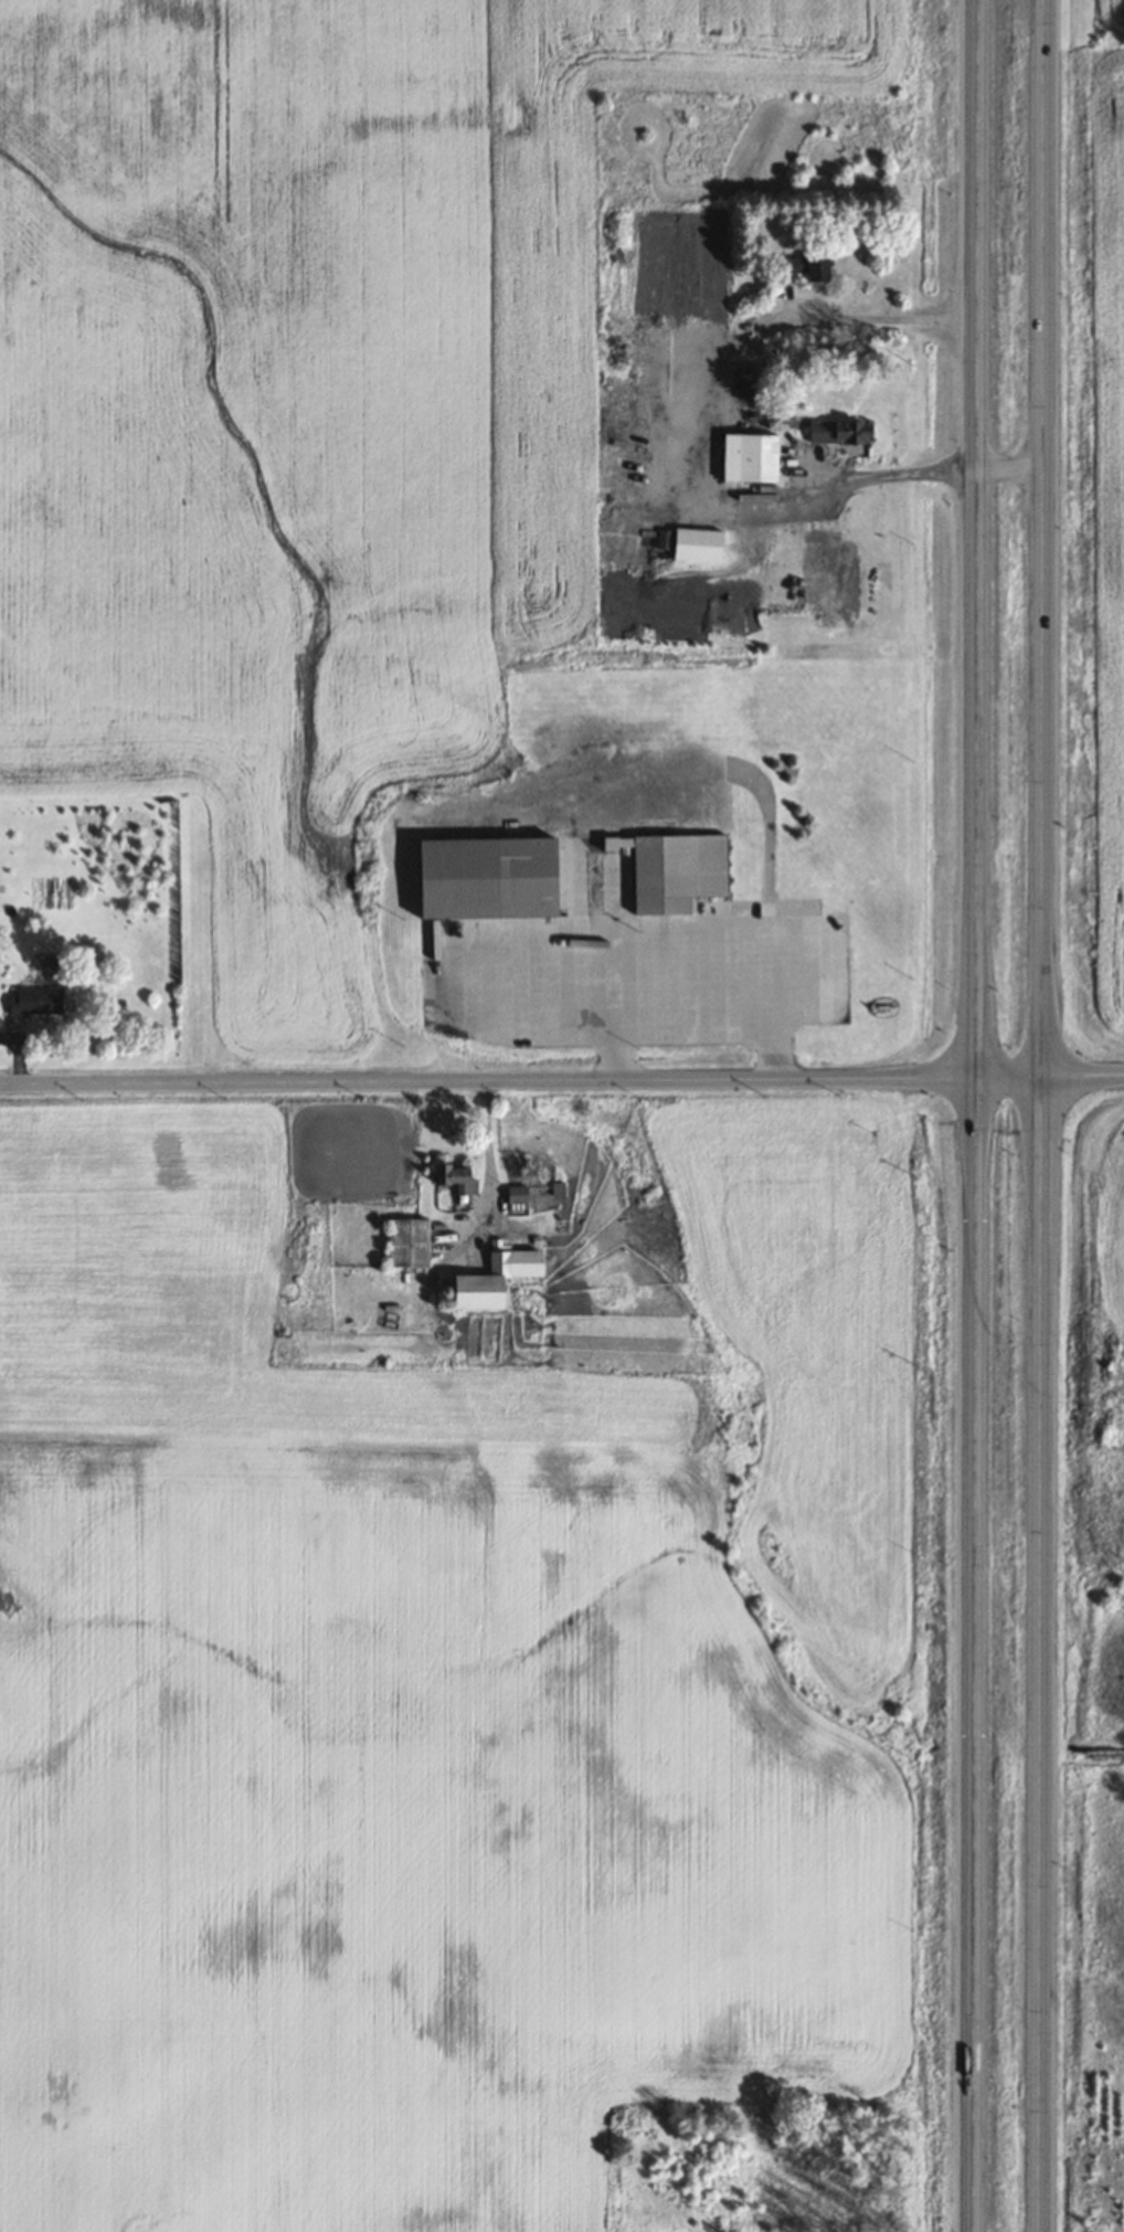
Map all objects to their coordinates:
building: (802, 266)
road: (883, 316)
building: (838, 431)
building: (747, 456)
road: (903, 470)
building: (653, 543)
building: (696, 544)
building: (676, 871)
building: (485, 877)
building: (33, 999)
road: (562, 1080)
road: (976, 1115)
road: (1038, 1115)
building: (455, 1177)
building: (558, 1189)
building: (516, 1197)
building: (406, 1241)
building: (491, 1278)

